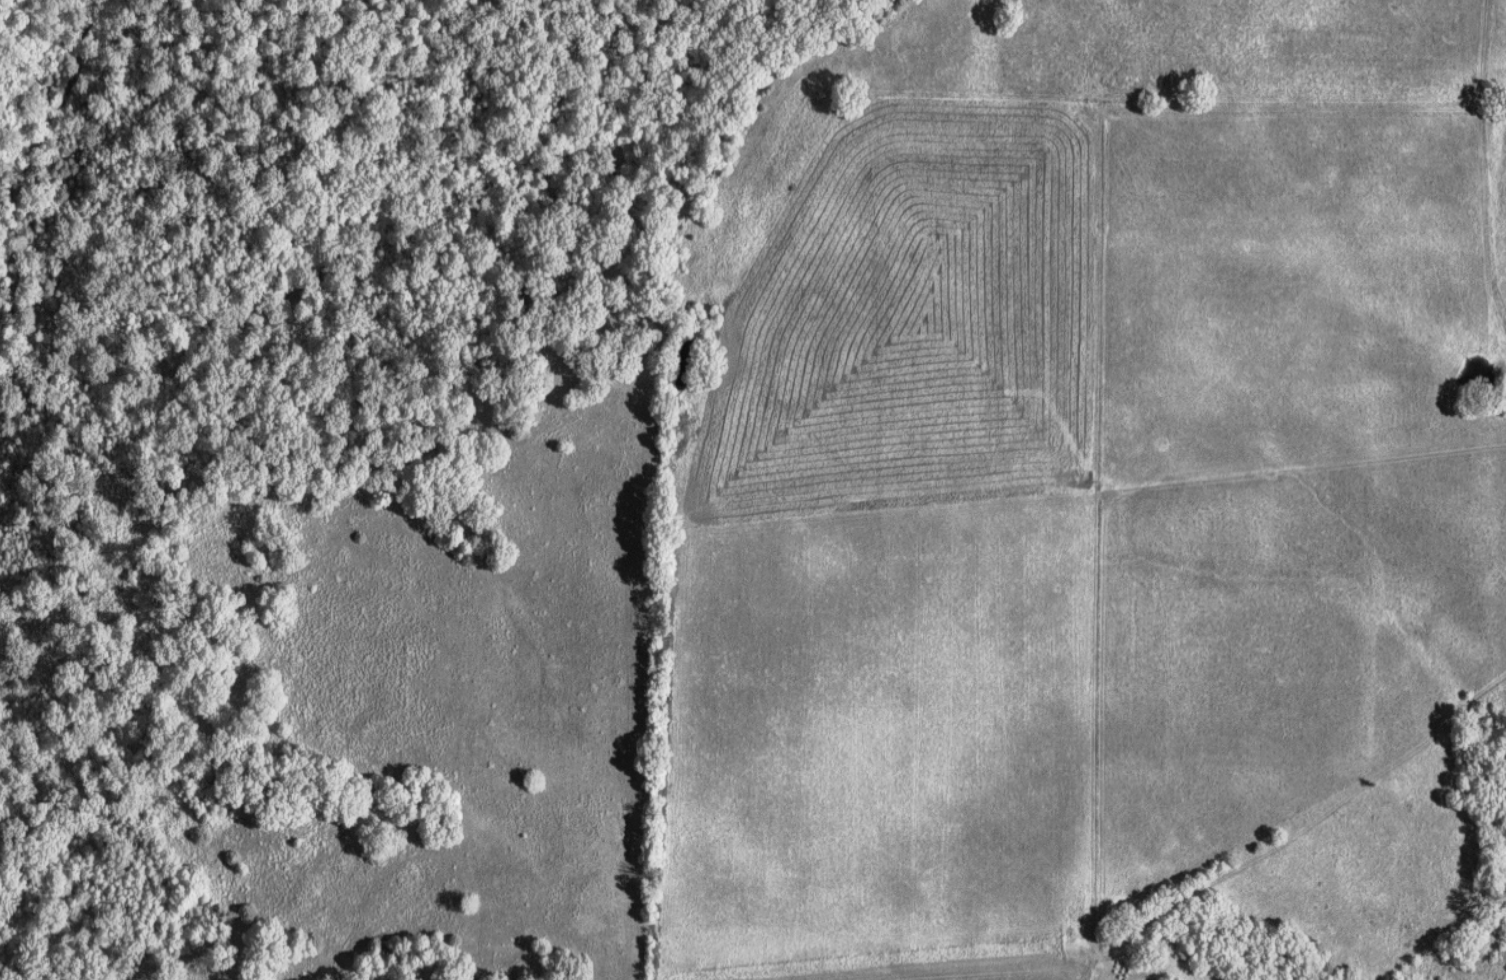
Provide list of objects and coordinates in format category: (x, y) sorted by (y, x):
road: (784, 219)
road: (1098, 514)
road: (1287, 820)

